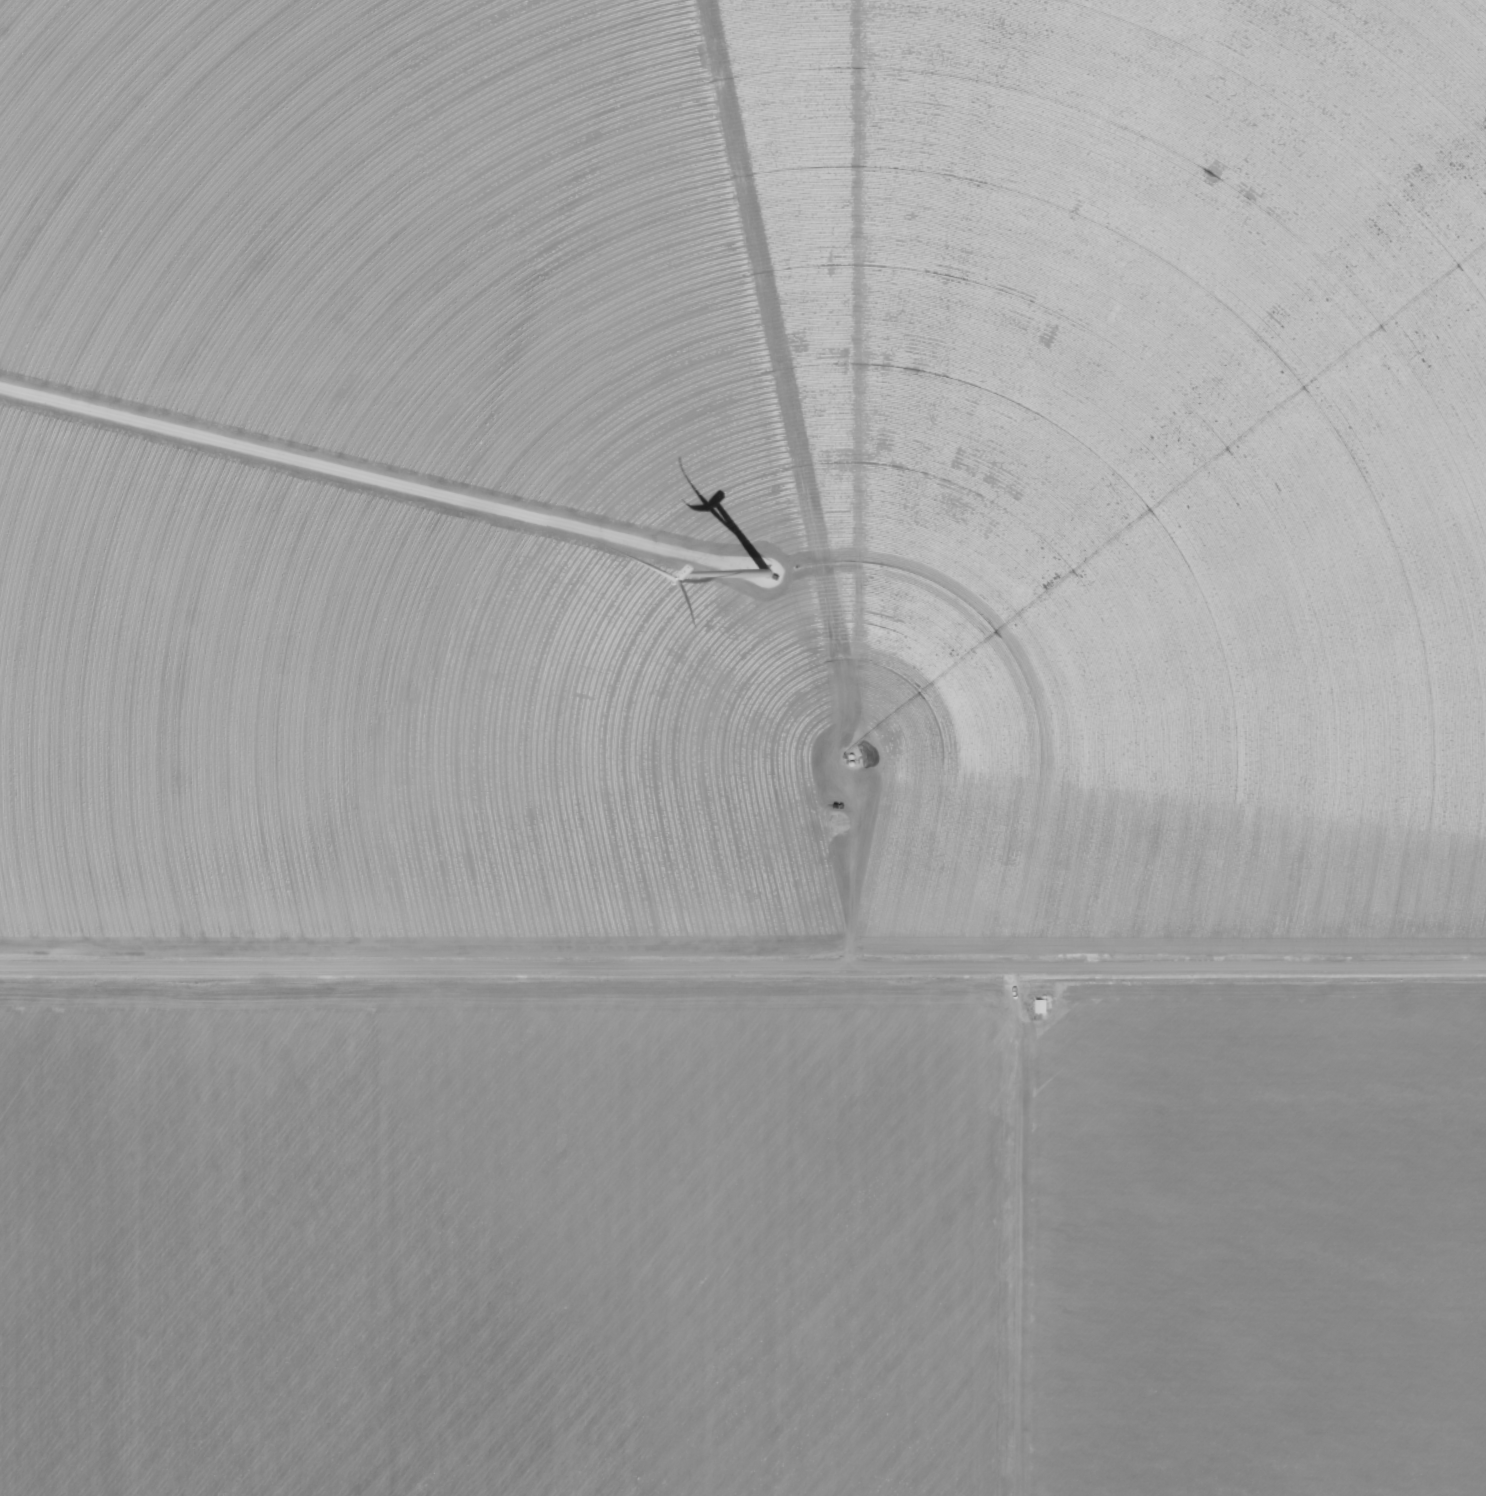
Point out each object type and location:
wind turbine: (765, 576)
road: (845, 864)
road: (742, 944)
building: (1045, 1008)

